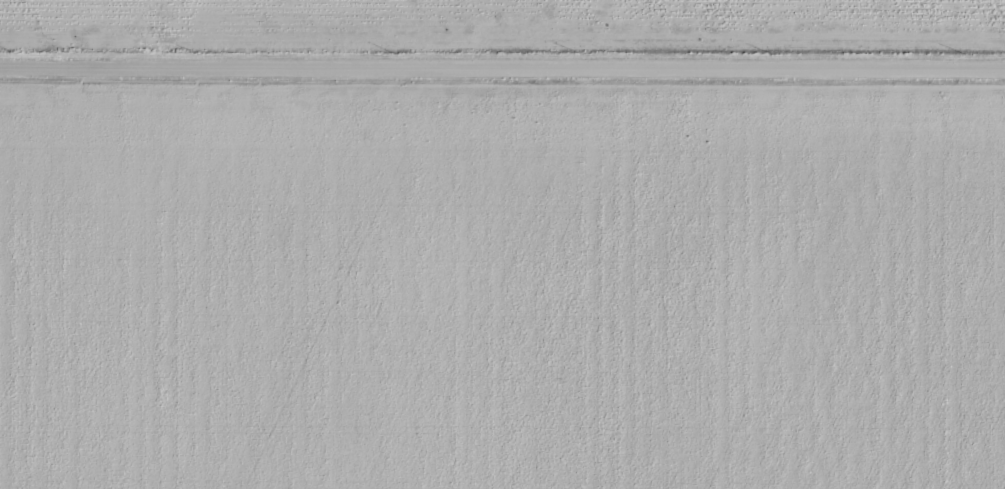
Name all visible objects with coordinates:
road: (502, 65)

